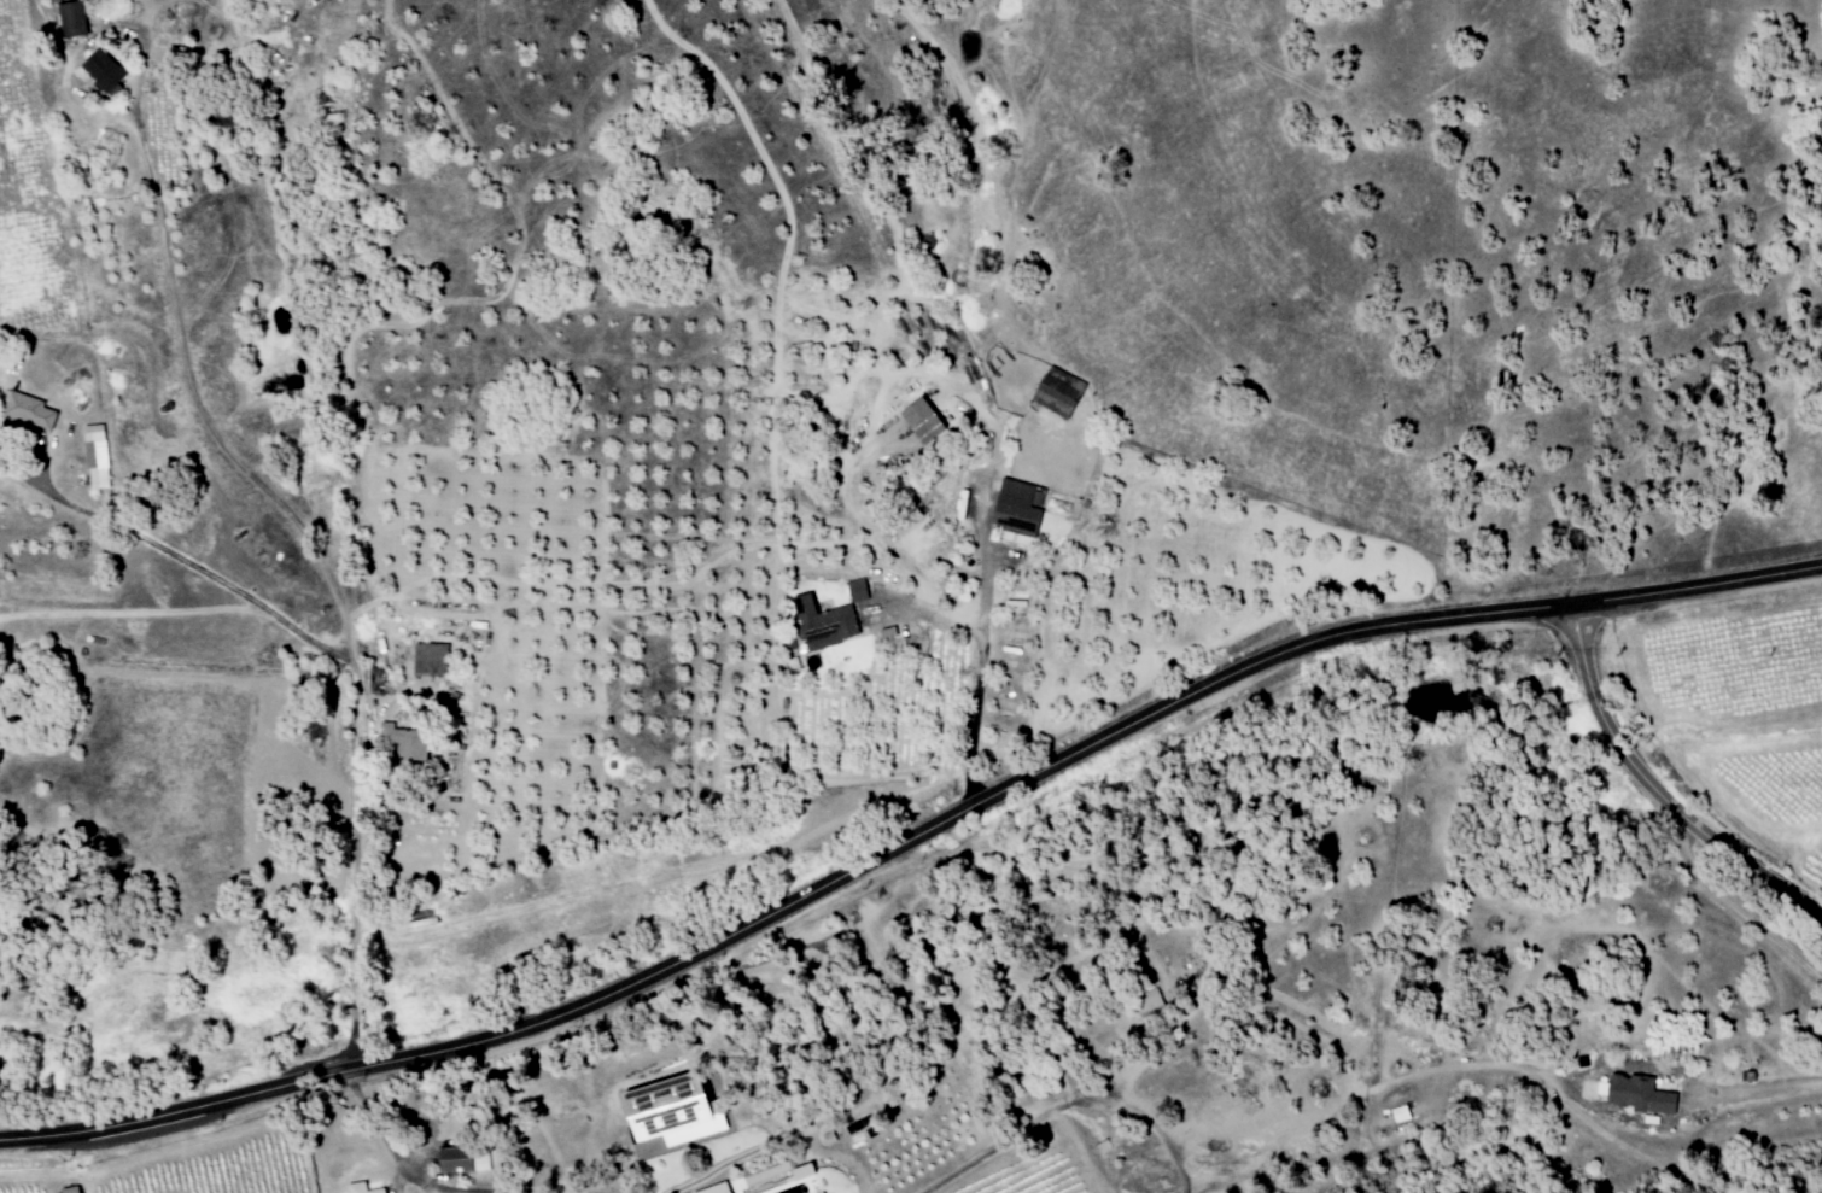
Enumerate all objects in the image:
road: (146, 14)
building: (69, 18)
building: (100, 71)
road: (997, 227)
building: (1055, 392)
building: (25, 411)
building: (917, 421)
building: (93, 456)
building: (1015, 507)
road: (305, 534)
building: (854, 590)
road: (240, 592)
building: (822, 624)
road: (981, 650)
building: (427, 660)
building: (402, 744)
road: (1655, 784)
road: (905, 834)
building: (417, 918)
building: (1149, 1002)
building: (664, 1110)
building: (1398, 1113)
road: (769, 1141)
building: (459, 1159)
road: (434, 1185)
building: (358, 1188)
building: (712, 1188)
building: (66, 1189)

